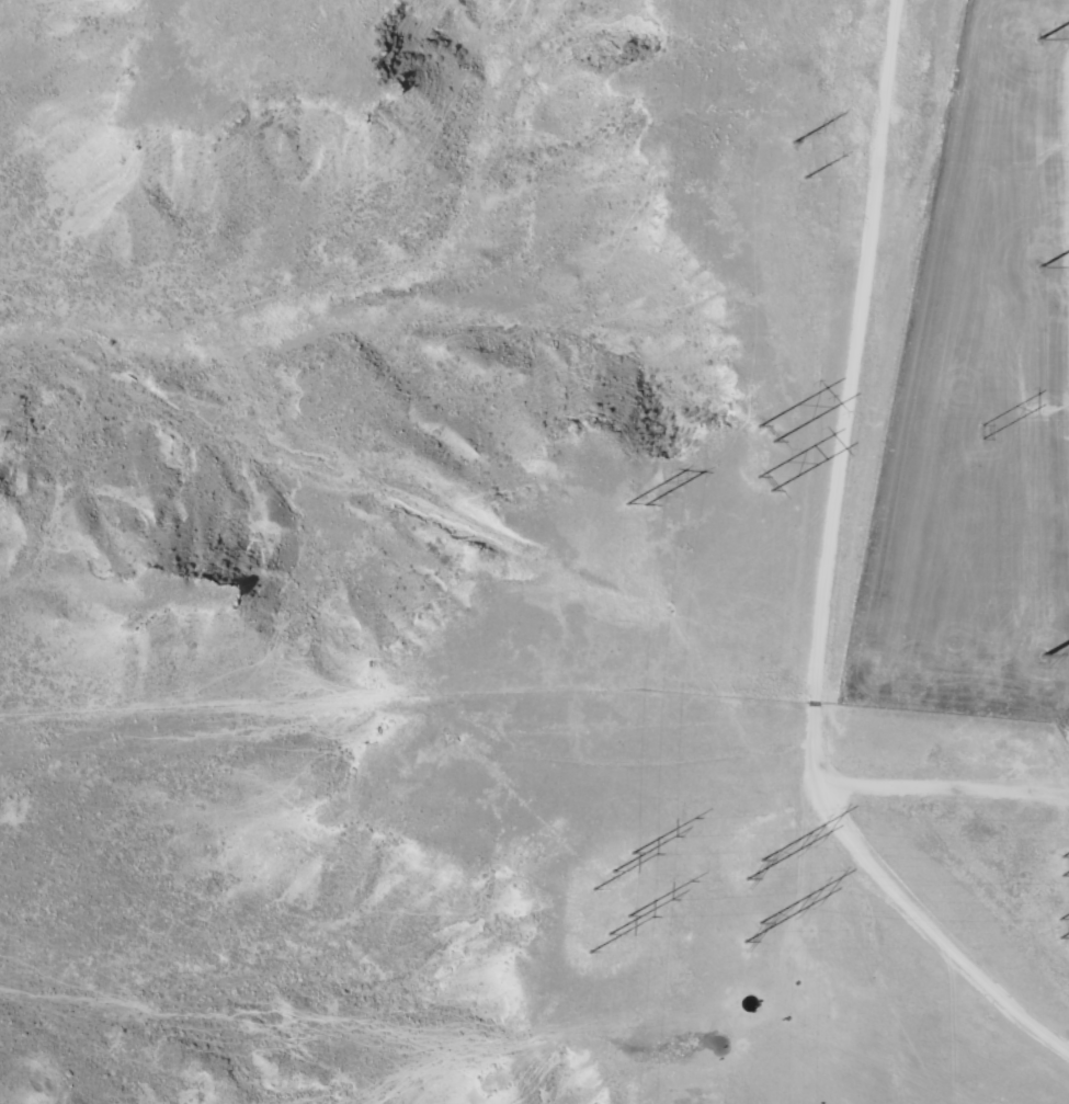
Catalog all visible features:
power tower: (1039, 43)
power tower: (795, 143)
power tower: (808, 180)
power tower: (1040, 268)
power tower: (769, 435)
power tower: (983, 435)
power tower: (767, 490)
power tower: (639, 504)
power tower: (1043, 659)
power tower: (1067, 863)
power tower: (757, 869)
power tower: (614, 872)
power tower: (1066, 927)
power tower: (754, 933)
power tower: (612, 935)

